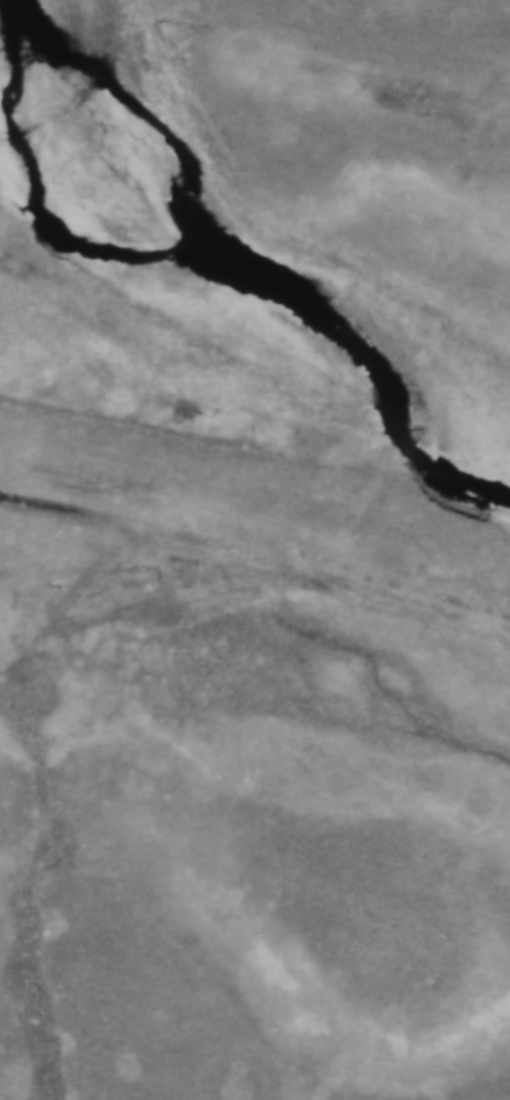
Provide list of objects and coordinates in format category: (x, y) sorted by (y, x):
river: (244, 265)
road: (255, 559)

